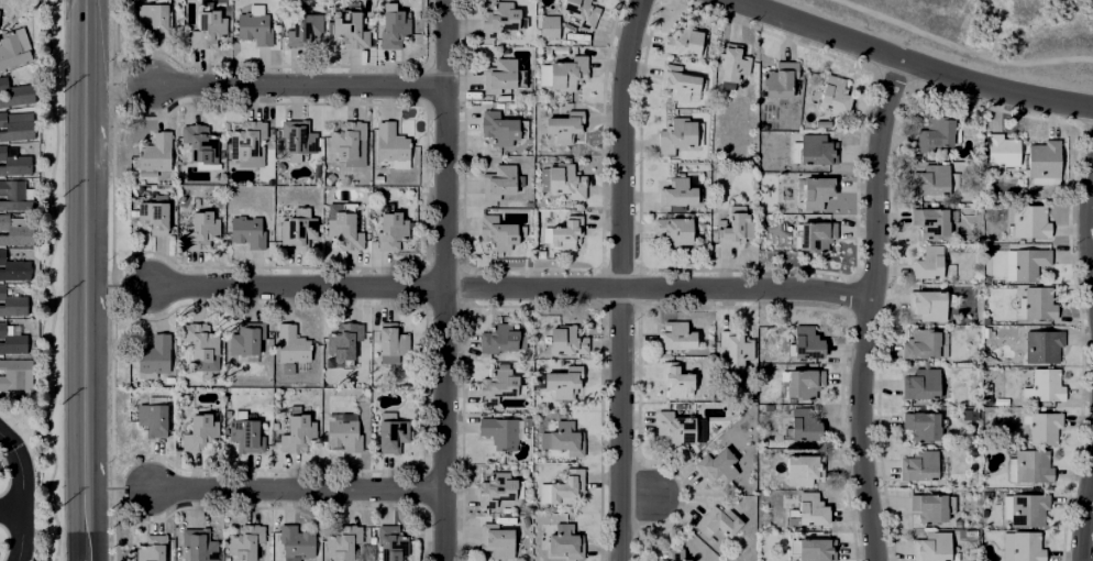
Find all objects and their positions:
building: (583, 13)
building: (155, 14)
building: (501, 20)
road: (92, 21)
building: (257, 21)
building: (397, 23)
building: (353, 24)
building: (208, 26)
building: (306, 26)
building: (545, 30)
building: (686, 42)
road: (446, 47)
building: (14, 48)
road: (961, 48)
road: (909, 62)
building: (736, 71)
building: (543, 75)
building: (572, 75)
building: (776, 77)
building: (504, 79)
building: (682, 81)
road: (296, 86)
building: (14, 91)
building: (833, 95)
building: (16, 125)
building: (568, 130)
building: (937, 130)
building: (506, 131)
building: (301, 132)
building: (351, 136)
building: (681, 137)
building: (201, 140)
building: (251, 140)
building: (394, 143)
building: (816, 145)
building: (1001, 148)
building: (156, 152)
building: (1045, 159)
building: (14, 163)
building: (930, 175)
building: (503, 183)
building: (565, 183)
building: (815, 187)
building: (682, 194)
building: (13, 195)
building: (157, 213)
road: (1090, 216)
building: (930, 217)
building: (1030, 218)
building: (735, 223)
building: (202, 227)
building: (300, 227)
building: (346, 227)
building: (395, 227)
building: (251, 228)
building: (815, 231)
building: (15, 232)
building: (676, 233)
building: (499, 234)
building: (564, 239)
building: (928, 258)
building: (1029, 258)
building: (1008, 265)
building: (13, 268)
road: (621, 278)
road: (509, 288)
building: (1038, 299)
road: (93, 301)
building: (927, 301)
building: (12, 302)
road: (868, 308)
road: (442, 323)
building: (675, 332)
building: (496, 335)
building: (565, 337)
building: (12, 338)
building: (346, 338)
building: (806, 338)
building: (250, 339)
building: (394, 340)
building: (921, 342)
building: (203, 343)
building: (736, 343)
building: (1042, 343)
building: (295, 346)
building: (155, 354)
building: (15, 373)
building: (675, 377)
building: (561, 378)
building: (801, 380)
building: (920, 380)
building: (1047, 382)
building: (498, 383)
building: (155, 413)
building: (806, 419)
building: (921, 421)
building: (1044, 424)
building: (674, 425)
building: (346, 429)
building: (499, 429)
building: (202, 430)
building: (300, 430)
building: (395, 431)
building: (249, 432)
building: (565, 435)
building: (718, 462)
building: (919, 462)
building: (1031, 463)
building: (805, 466)
building: (565, 484)
building: (494, 486)
road: (299, 488)
building: (542, 493)
road: (640, 494)
road: (22, 495)
building: (928, 504)
building: (812, 506)
building: (1028, 506)
road: (11, 509)
road: (1085, 516)
building: (717, 518)
building: (496, 538)
building: (565, 538)
building: (247, 539)
building: (298, 540)
building: (345, 540)
building: (395, 540)
building: (201, 543)
building: (931, 543)
building: (154, 547)
building: (816, 547)
building: (1025, 547)
building: (673, 554)

